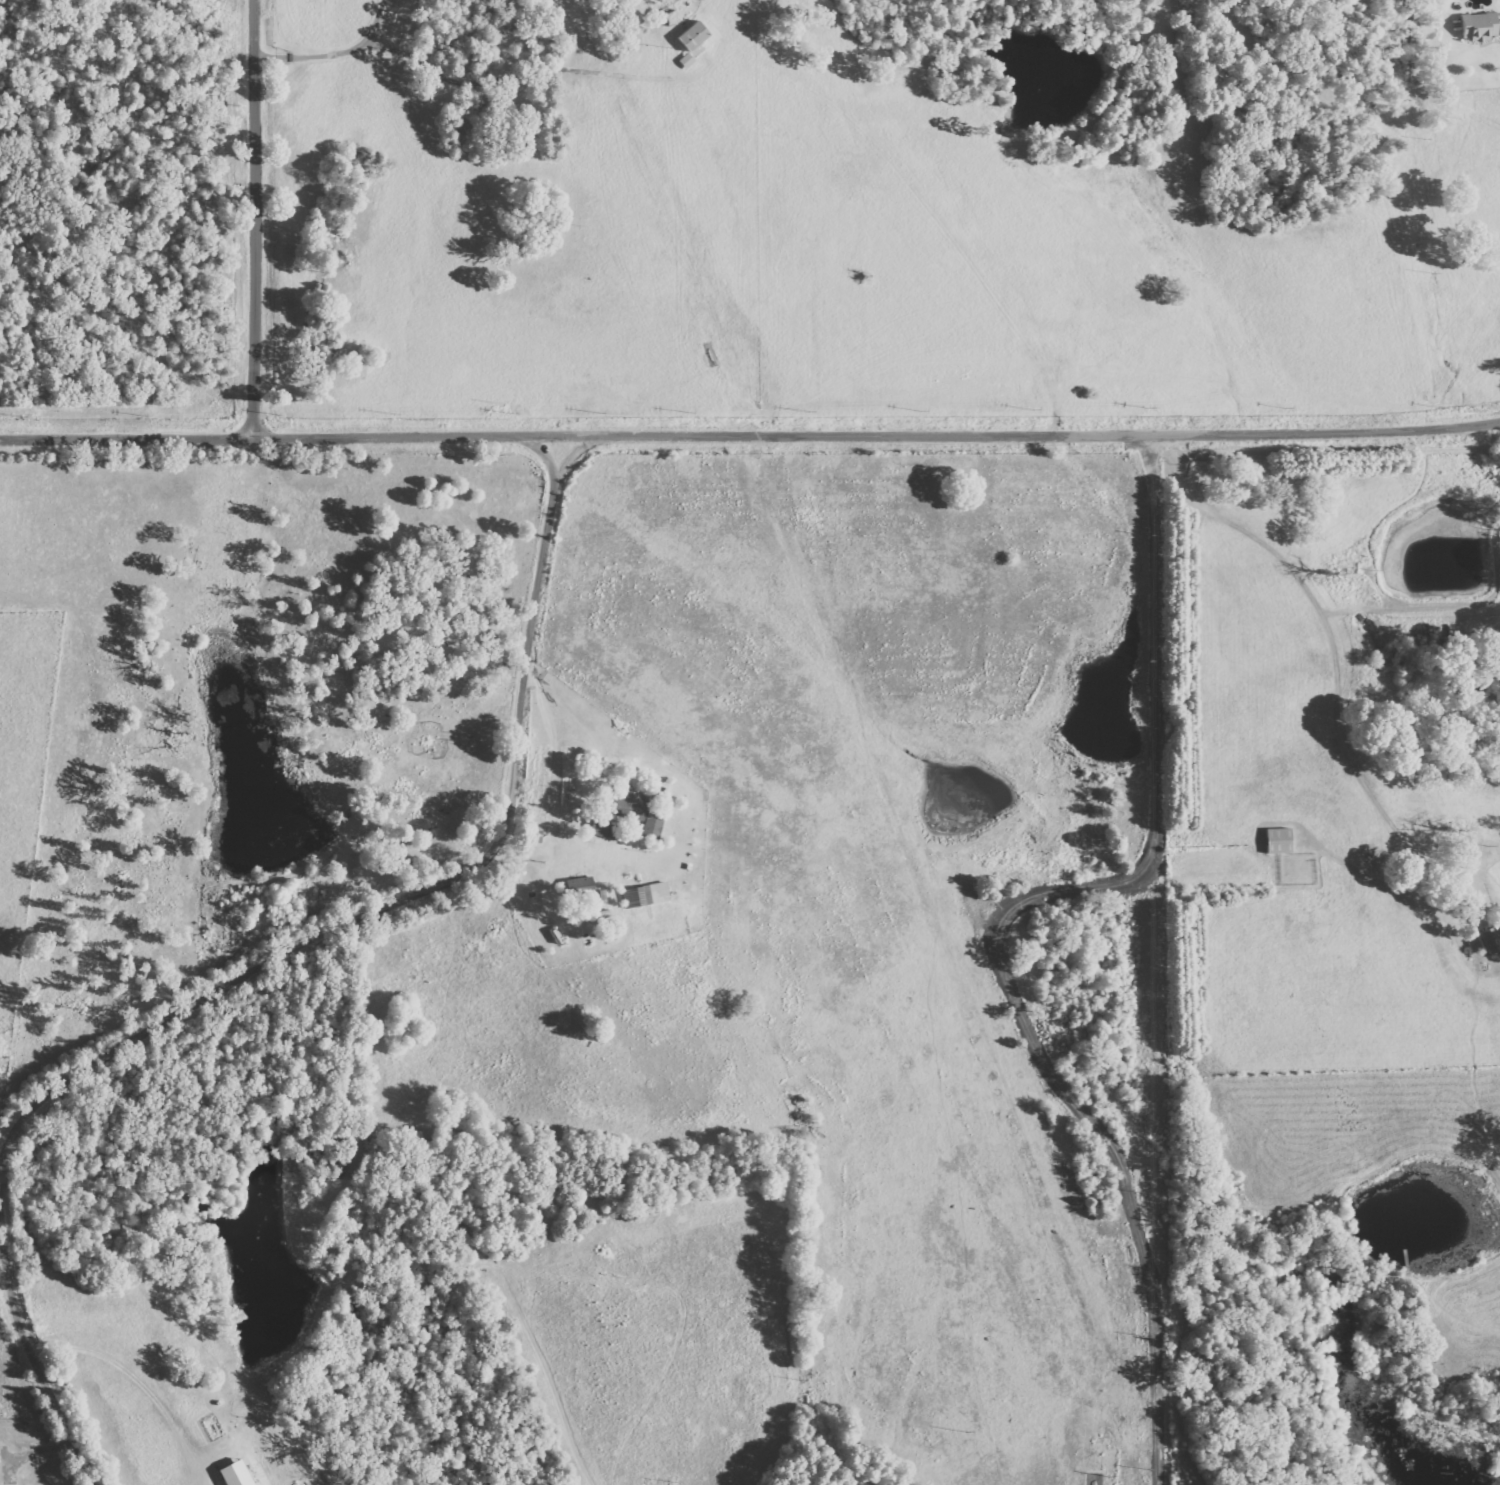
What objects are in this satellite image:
building: (1499, 23)
building: (1481, 26)
building: (694, 36)
building: (688, 61)
road: (256, 219)
road: (750, 436)
road: (1160, 772)
building: (630, 803)
building: (653, 824)
building: (602, 826)
building: (1280, 840)
building: (647, 895)
road: (409, 906)
building: (1491, 939)
road: (32, 1395)

